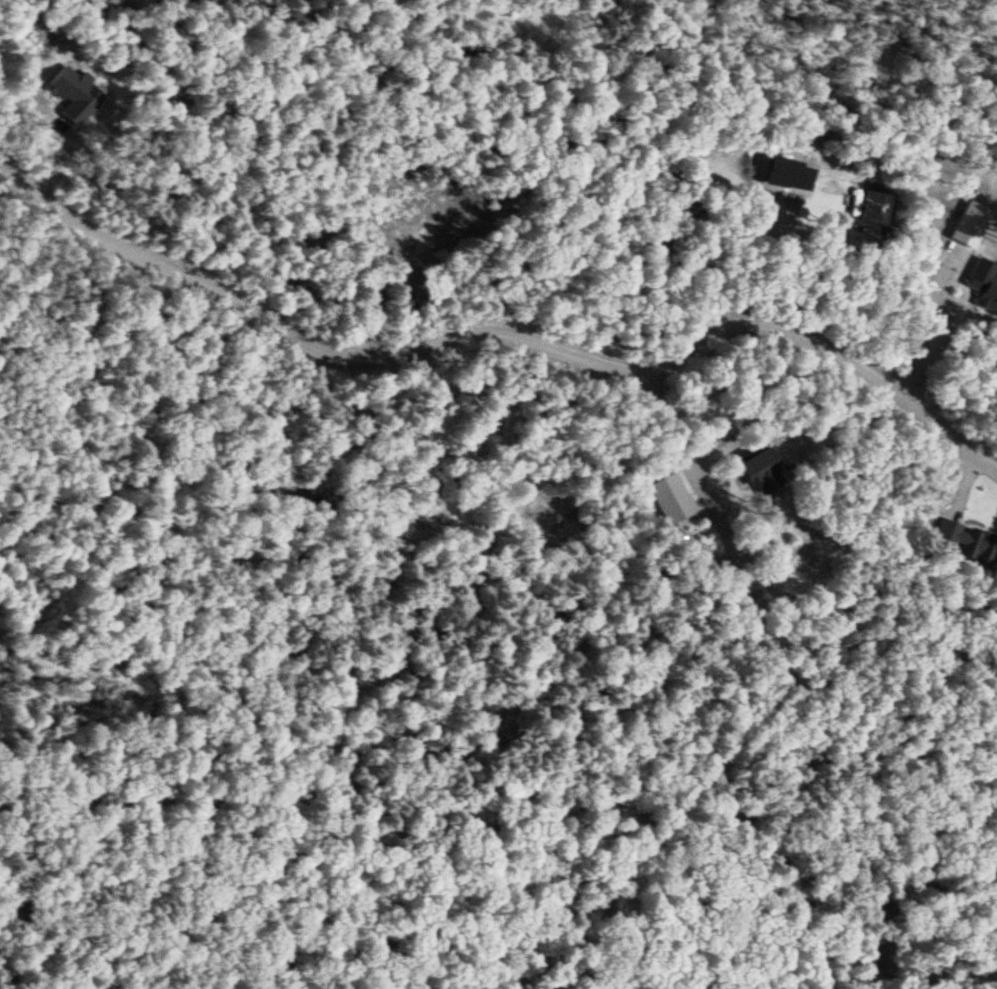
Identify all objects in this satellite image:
building: (62, 86)
road: (500, 337)
building: (958, 542)

